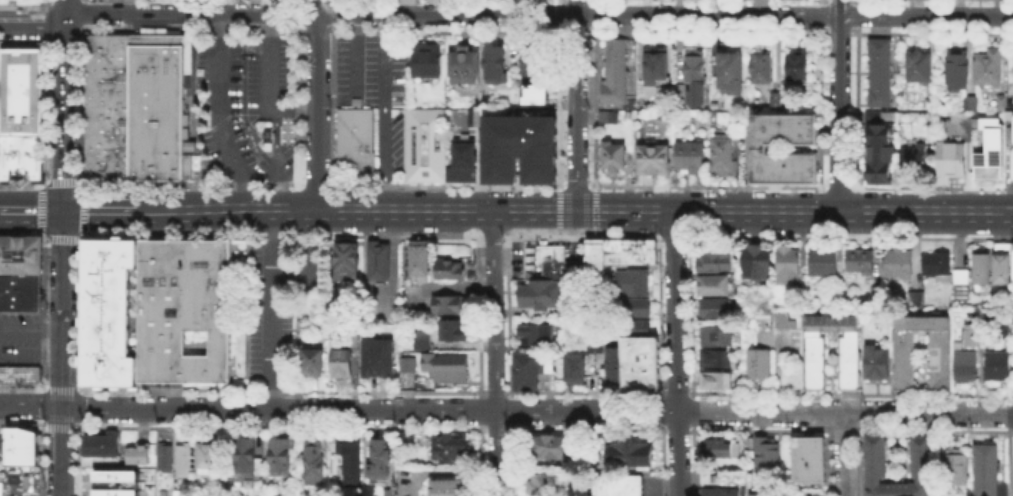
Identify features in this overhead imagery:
road: (320, 13)
road: (795, 13)
road: (33, 25)
building: (425, 59)
building: (529, 60)
building: (492, 62)
building: (463, 65)
building: (991, 65)
building: (696, 68)
building: (799, 68)
building: (763, 69)
building: (921, 69)
building: (656, 70)
building: (955, 70)
road: (355, 74)
building: (616, 74)
building: (731, 74)
building: (881, 75)
road: (266, 85)
parking lot: (375, 89)
building: (533, 94)
building: (684, 94)
building: (969, 101)
road: (64, 105)
parking lot: (246, 105)
road: (316, 105)
building: (1002, 105)
road: (576, 106)
road: (839, 106)
building: (104, 107)
building: (153, 107)
road: (382, 112)
road: (222, 113)
building: (19, 114)
building: (470, 116)
building: (607, 119)
building: (1012, 128)
building: (267, 136)
building: (353, 138)
building: (424, 143)
building: (519, 146)
building: (986, 147)
building: (763, 151)
building: (880, 152)
building: (724, 157)
building: (693, 158)
road: (275, 159)
building: (614, 159)
building: (655, 160)
building: (915, 162)
building: (465, 163)
building: (952, 163)
road: (0, 211)
road: (32, 211)
traffic signals: (63, 211)
road: (319, 211)
road: (794, 212)
road: (491, 221)
road: (543, 230)
building: (19, 253)
building: (623, 254)
building: (712, 259)
building: (820, 259)
building: (858, 259)
building: (420, 260)
building: (754, 260)
building: (894, 261)
building: (1000, 261)
building: (1011, 261)
building: (349, 262)
building: (381, 263)
building: (786, 263)
building: (935, 264)
building: (979, 265)
building: (561, 266)
building: (453, 270)
building: (958, 274)
building: (636, 282)
building: (712, 283)
building: (19, 291)
building: (544, 294)
building: (913, 297)
parking lot: (281, 300)
building: (448, 306)
building: (713, 306)
building: (637, 308)
road: (62, 309)
building: (183, 309)
building: (107, 310)
road: (271, 310)
building: (830, 321)
building: (784, 322)
road: (31, 327)
parking lot: (19, 328)
building: (637, 328)
building: (1002, 328)
building: (305, 329)
building: (454, 331)
building: (971, 333)
building: (714, 334)
building: (537, 335)
building: (355, 340)
building: (423, 342)
building: (596, 347)
road: (30, 354)
road: (675, 354)
building: (713, 357)
building: (903, 358)
building: (847, 359)
building: (379, 360)
building: (874, 360)
building: (756, 362)
road: (494, 363)
building: (995, 363)
building: (313, 364)
building: (963, 364)
building: (343, 365)
building: (410, 365)
building: (642, 365)
building: (615, 367)
building: (448, 369)
building: (577, 370)
building: (528, 372)
building: (17, 374)
road: (776, 376)
building: (714, 378)
road: (30, 405)
road: (536, 410)
building: (409, 438)
building: (100, 443)
building: (20, 445)
building: (448, 447)
building: (714, 447)
building: (554, 449)
building: (765, 450)
road: (60, 451)
building: (632, 453)
road: (844, 454)
building: (140, 455)
building: (380, 455)
building: (246, 457)
building: (278, 457)
building: (807, 457)
building: (873, 457)
building: (98, 459)
building: (210, 459)
building: (167, 460)
building: (186, 462)
building: (351, 464)
building: (314, 465)
building: (954, 465)
building: (984, 469)
building: (707, 474)
building: (706, 479)
building: (114, 482)
building: (543, 484)
building: (620, 485)
building: (447, 487)
building: (720, 491)
building: (760, 494)

